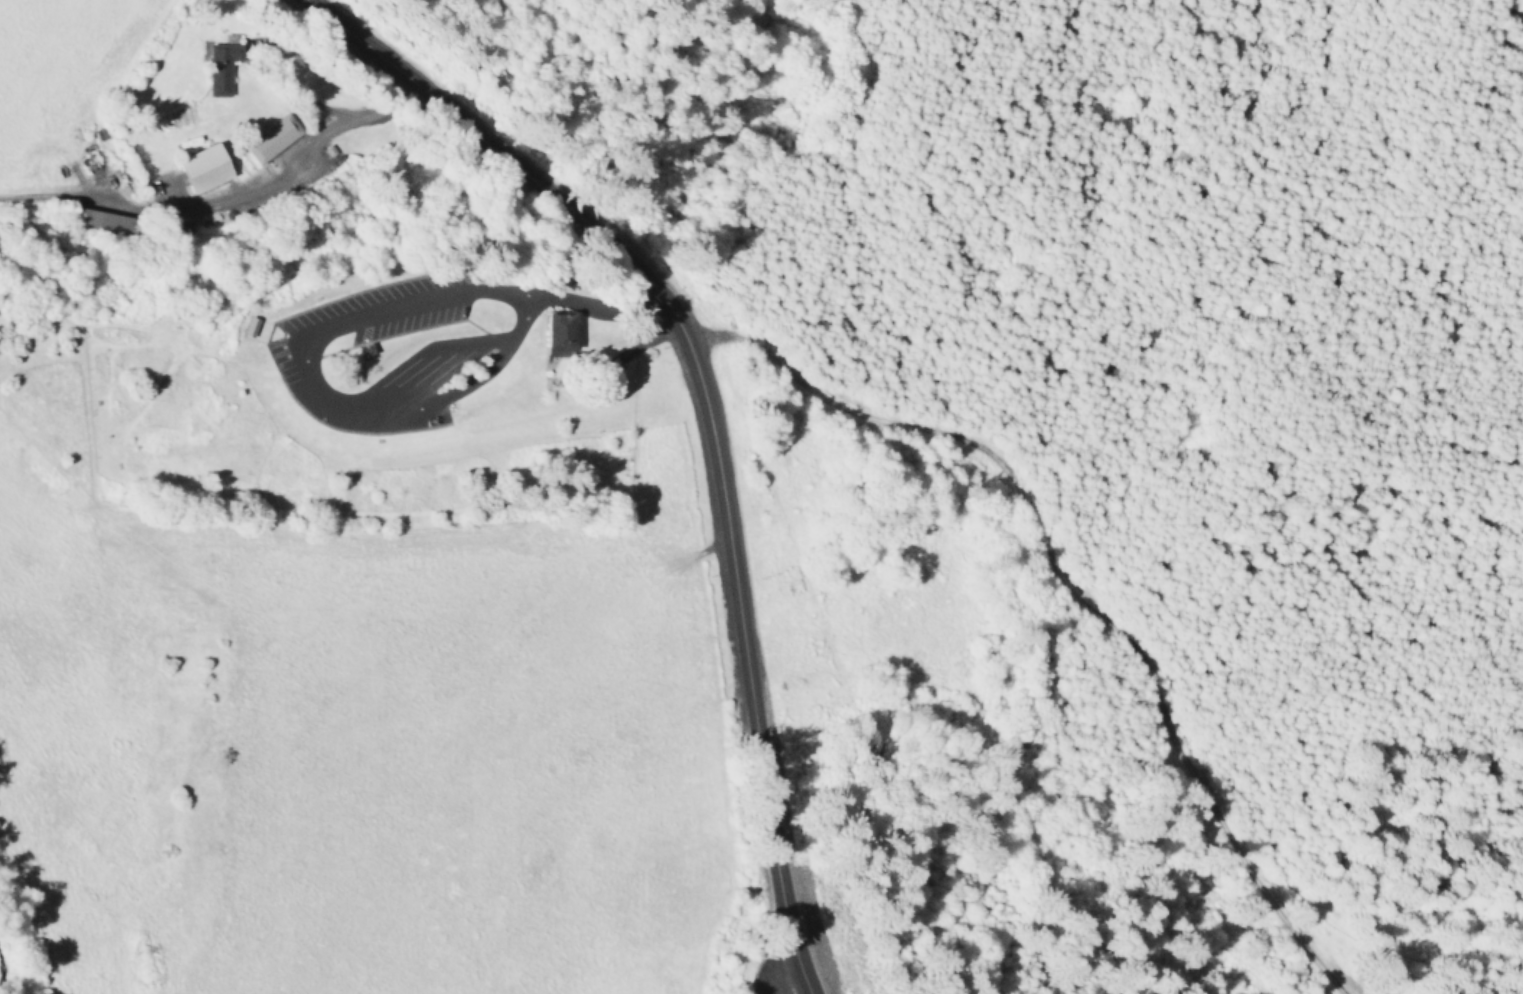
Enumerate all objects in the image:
road: (369, 45)
building: (222, 65)
road: (317, 100)
building: (270, 136)
road: (492, 141)
building: (202, 167)
road: (224, 192)
road: (654, 282)
road: (611, 304)
building: (250, 324)
building: (556, 331)
parking lot: (296, 349)
road: (303, 380)
road: (746, 647)
road: (793, 943)
road: (776, 962)
parking lot: (764, 979)

